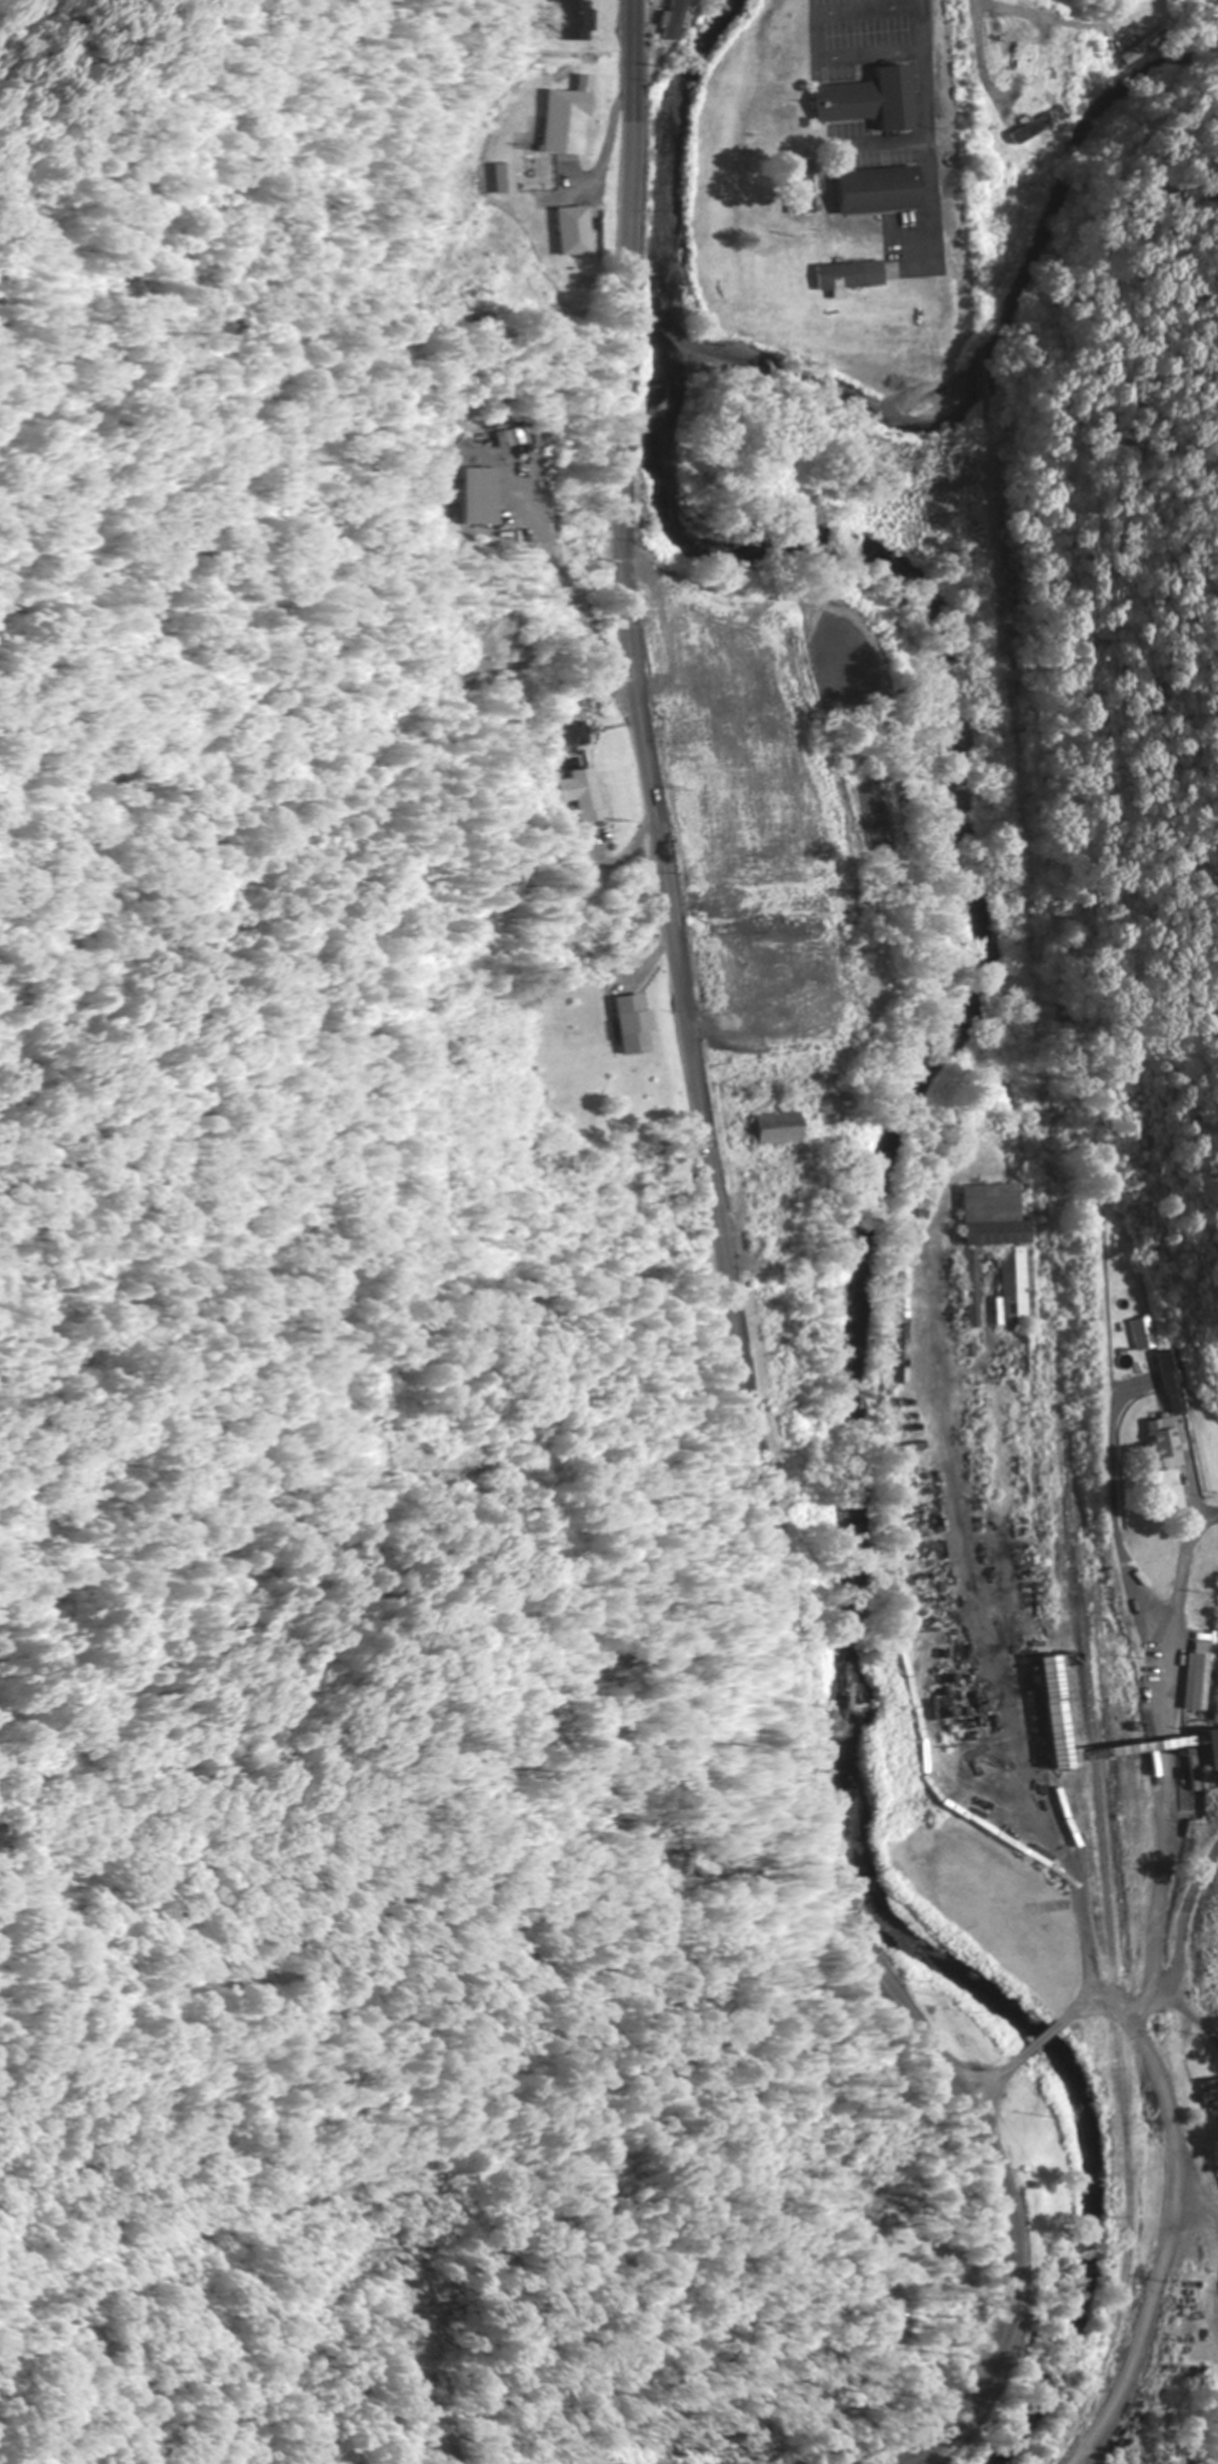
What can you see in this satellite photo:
building: (679, 19)
building: (588, 21)
road: (979, 32)
building: (1028, 56)
building: (868, 102)
building: (582, 124)
building: (796, 188)
building: (877, 191)
building: (585, 233)
building: (848, 276)
building: (572, 734)
building: (673, 742)
building: (589, 795)
building: (639, 1024)
building: (783, 1128)
building: (991, 1234)
railway: (1054, 1242)
road: (732, 1275)
building: (1019, 1287)
building: (1138, 1334)
building: (1170, 1383)
building: (1161, 1445)
road: (970, 1574)
building: (1197, 1675)
building: (1059, 1713)
building: (1212, 1742)
road: (1045, 2042)
road: (996, 2080)
building: (1213, 2100)
road: (745, 2146)
road: (1173, 2212)

